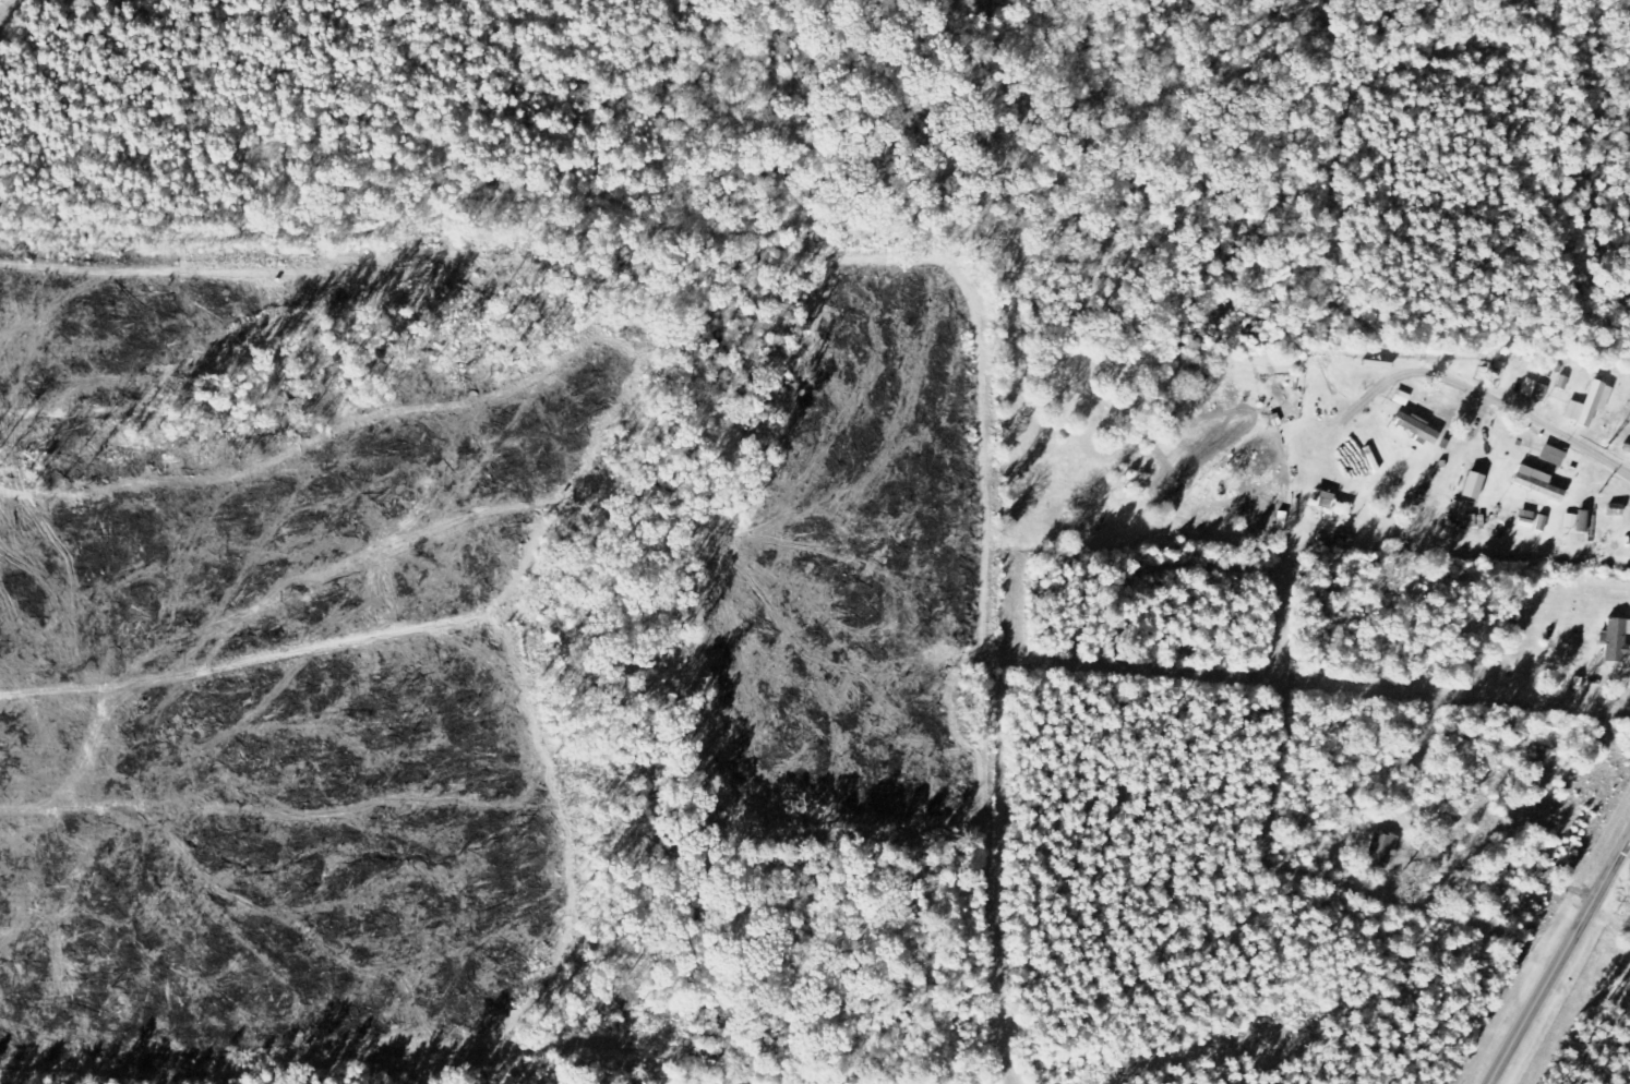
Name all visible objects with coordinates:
road: (1509, 402)
building: (1421, 427)
building: (1556, 455)
building: (1477, 485)
building: (1541, 485)
building: (1333, 503)
building: (1530, 518)
building: (1580, 520)
building: (1544, 522)
building: (1618, 640)
road: (1621, 676)
building: (1383, 852)
road: (1560, 961)

